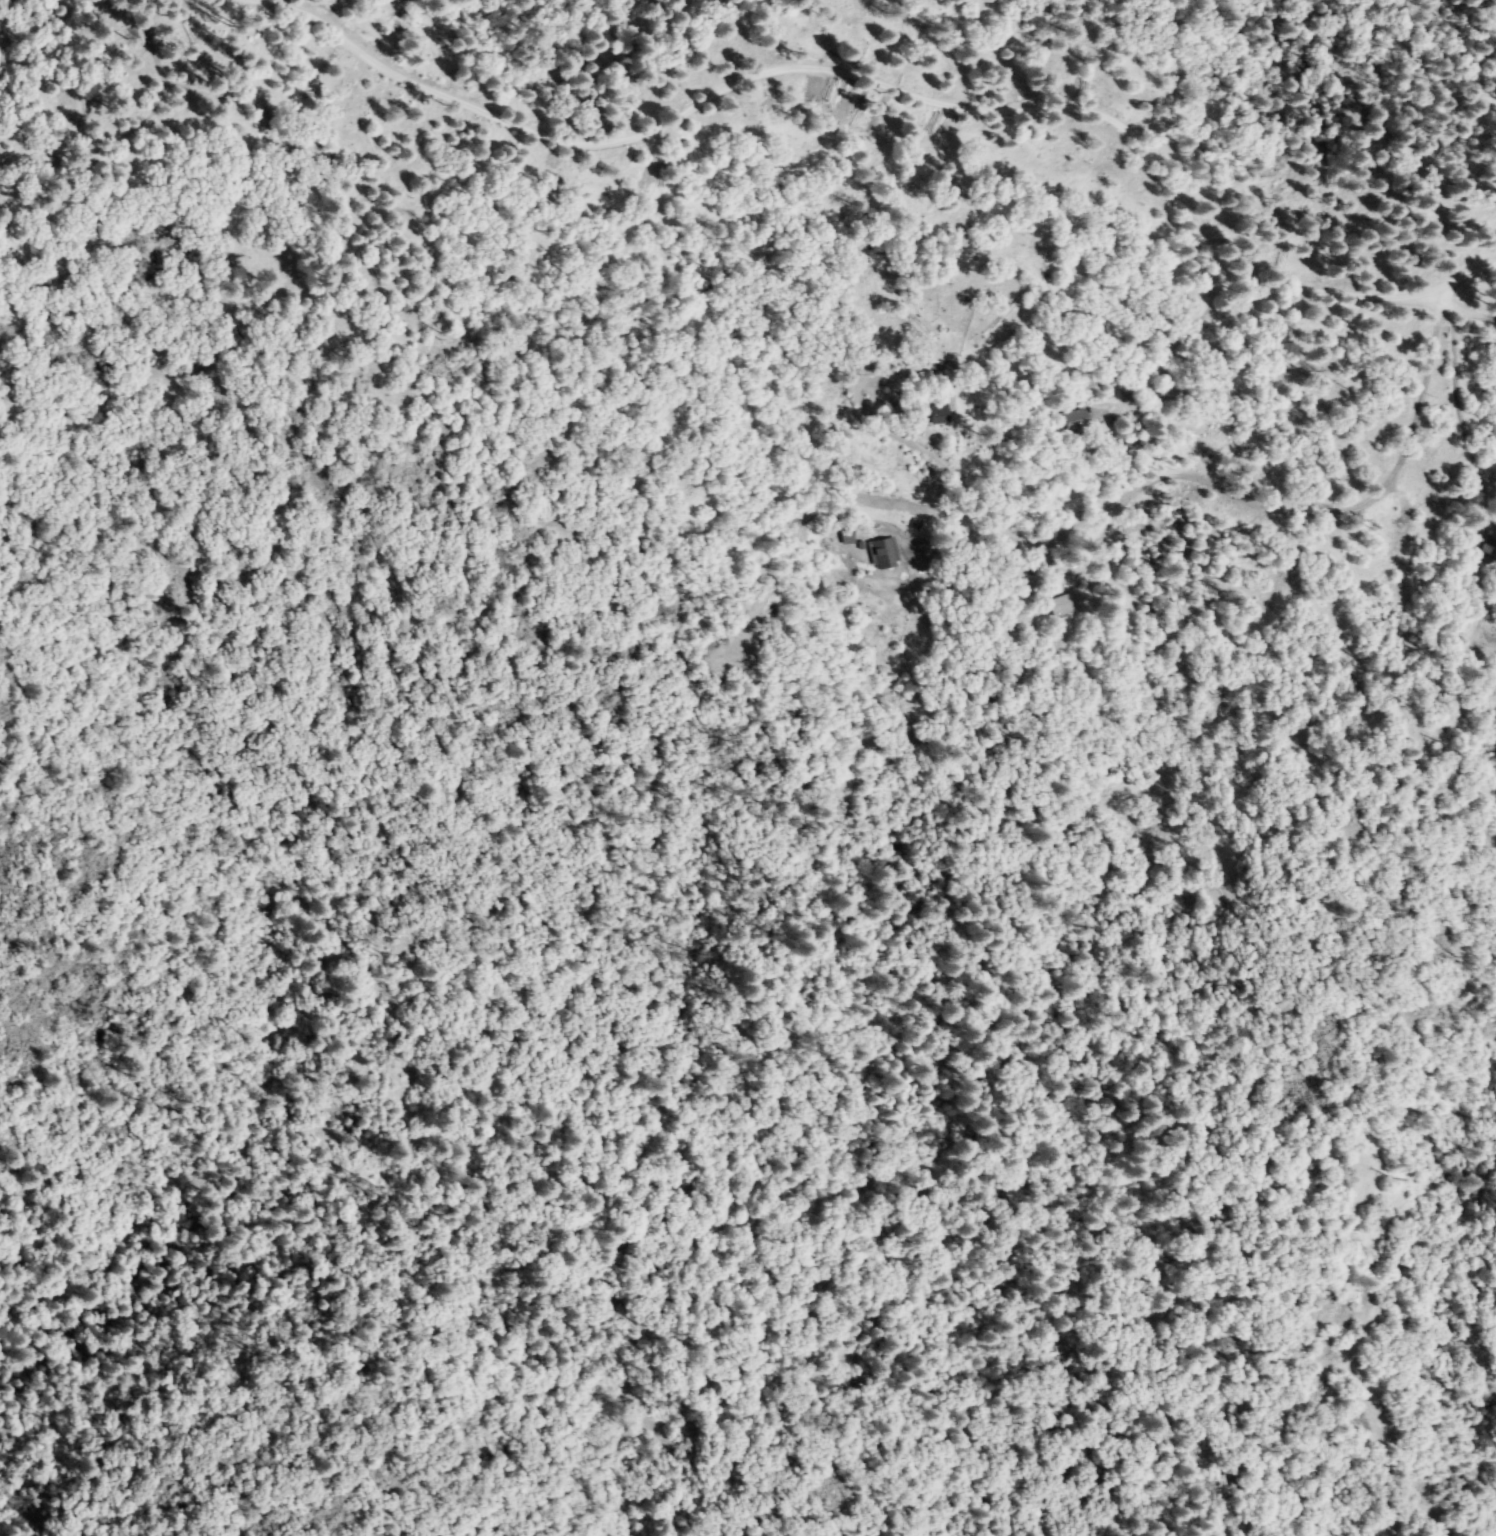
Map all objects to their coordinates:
road: (908, 92)
road: (1453, 374)
building: (938, 414)
building: (1075, 420)
building: (1488, 546)
building: (883, 553)
building: (1062, 606)

